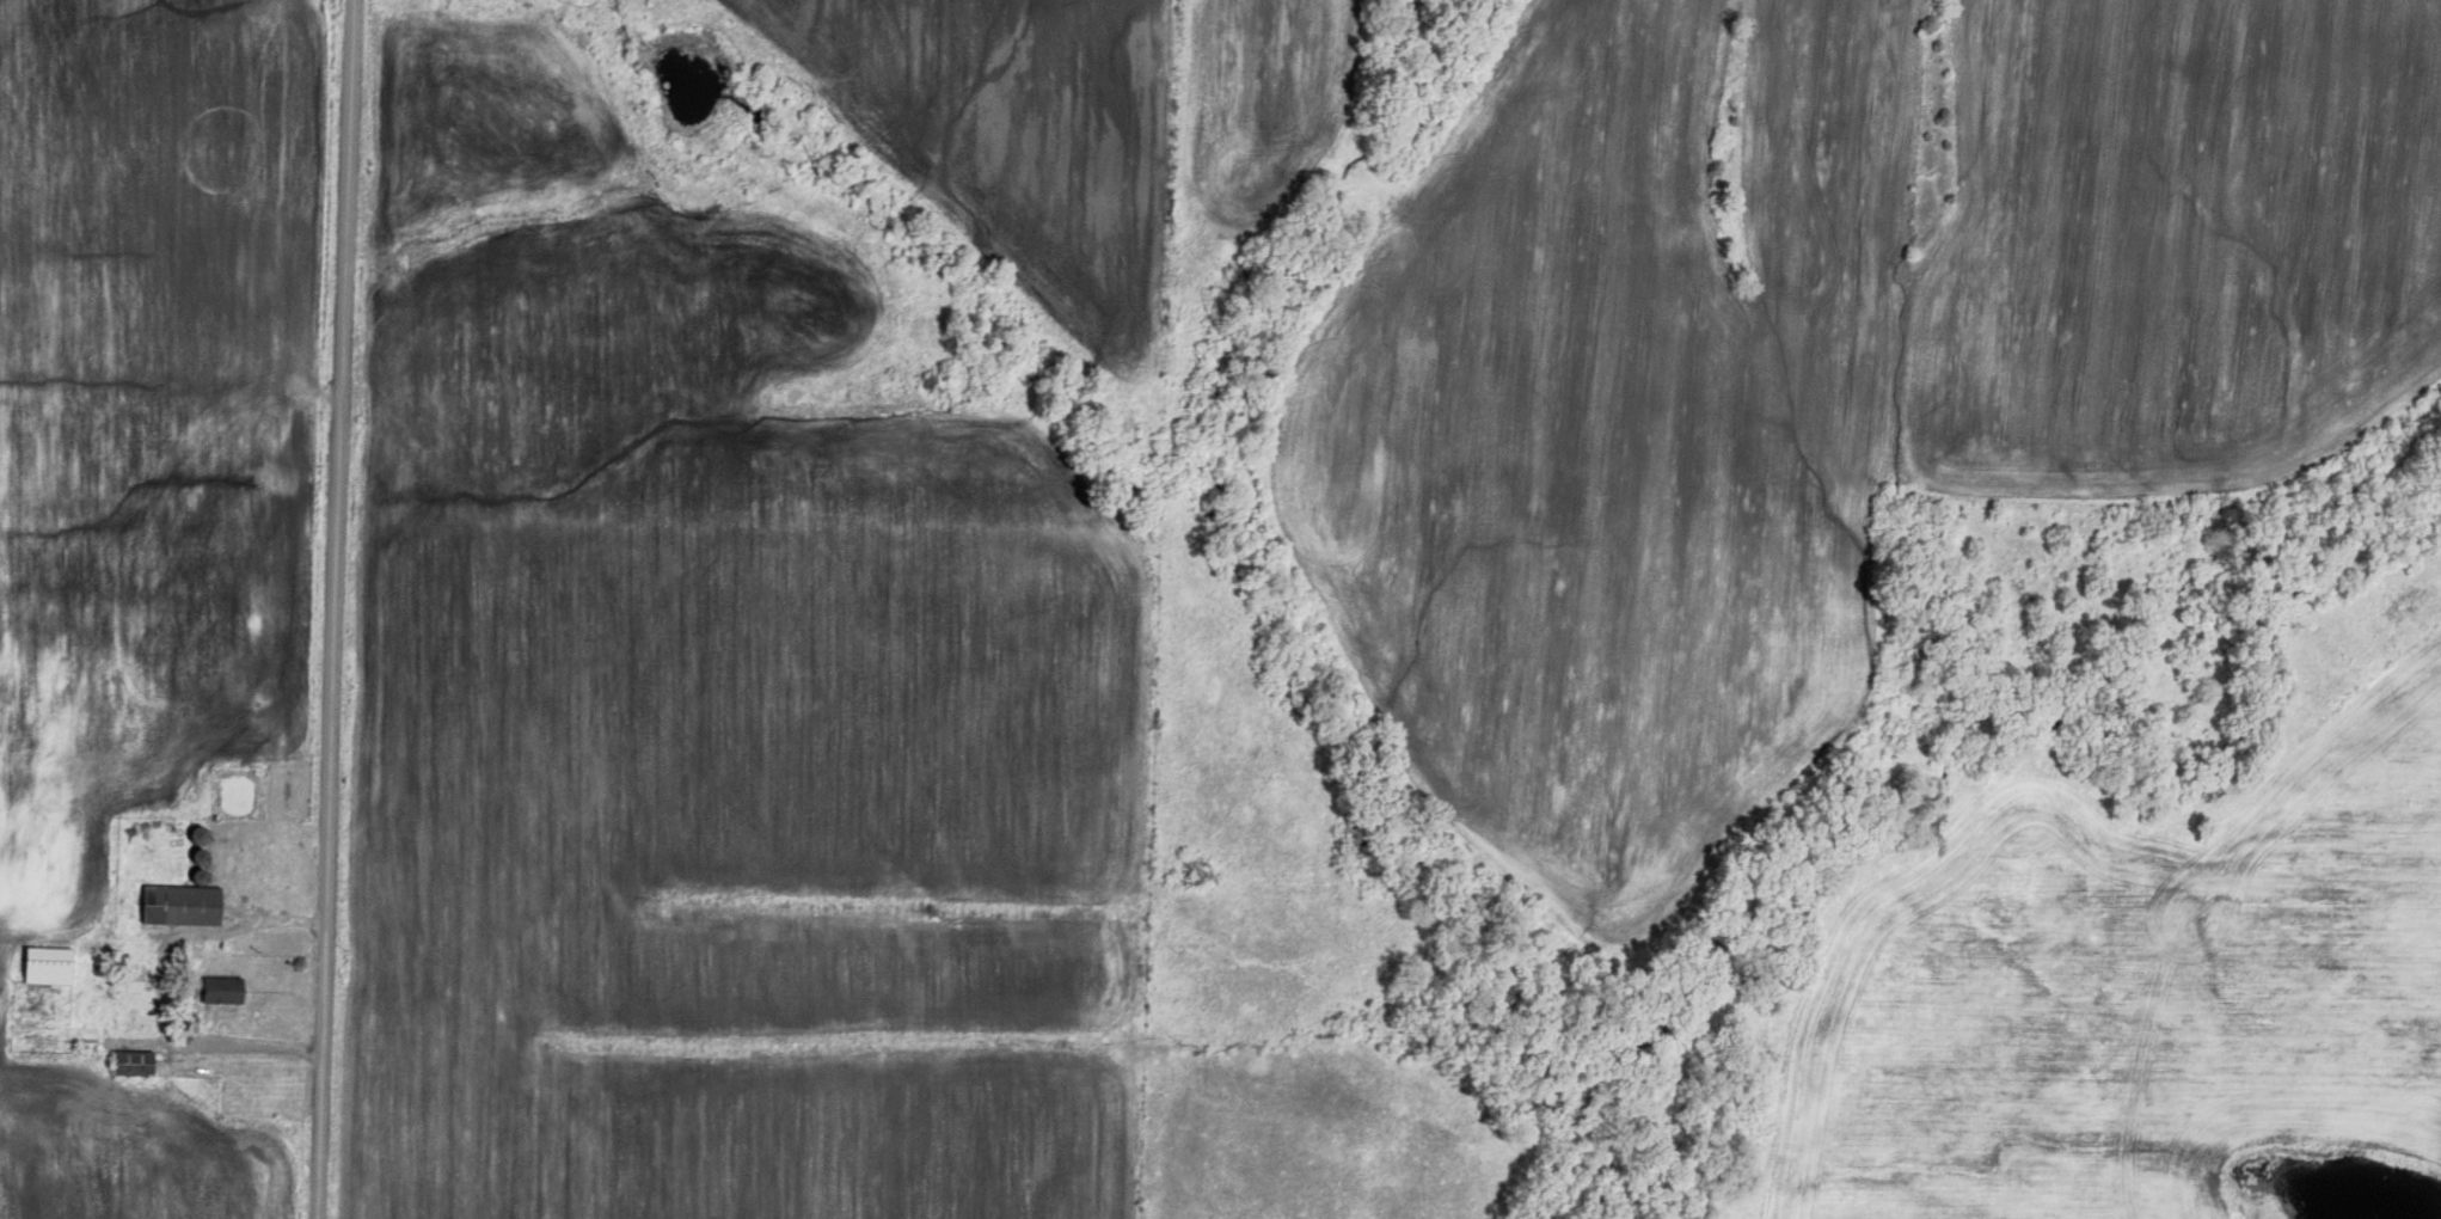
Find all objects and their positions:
road: (330, 608)
building: (176, 907)
building: (42, 968)
building: (215, 992)
road: (240, 1046)
building: (127, 1065)

